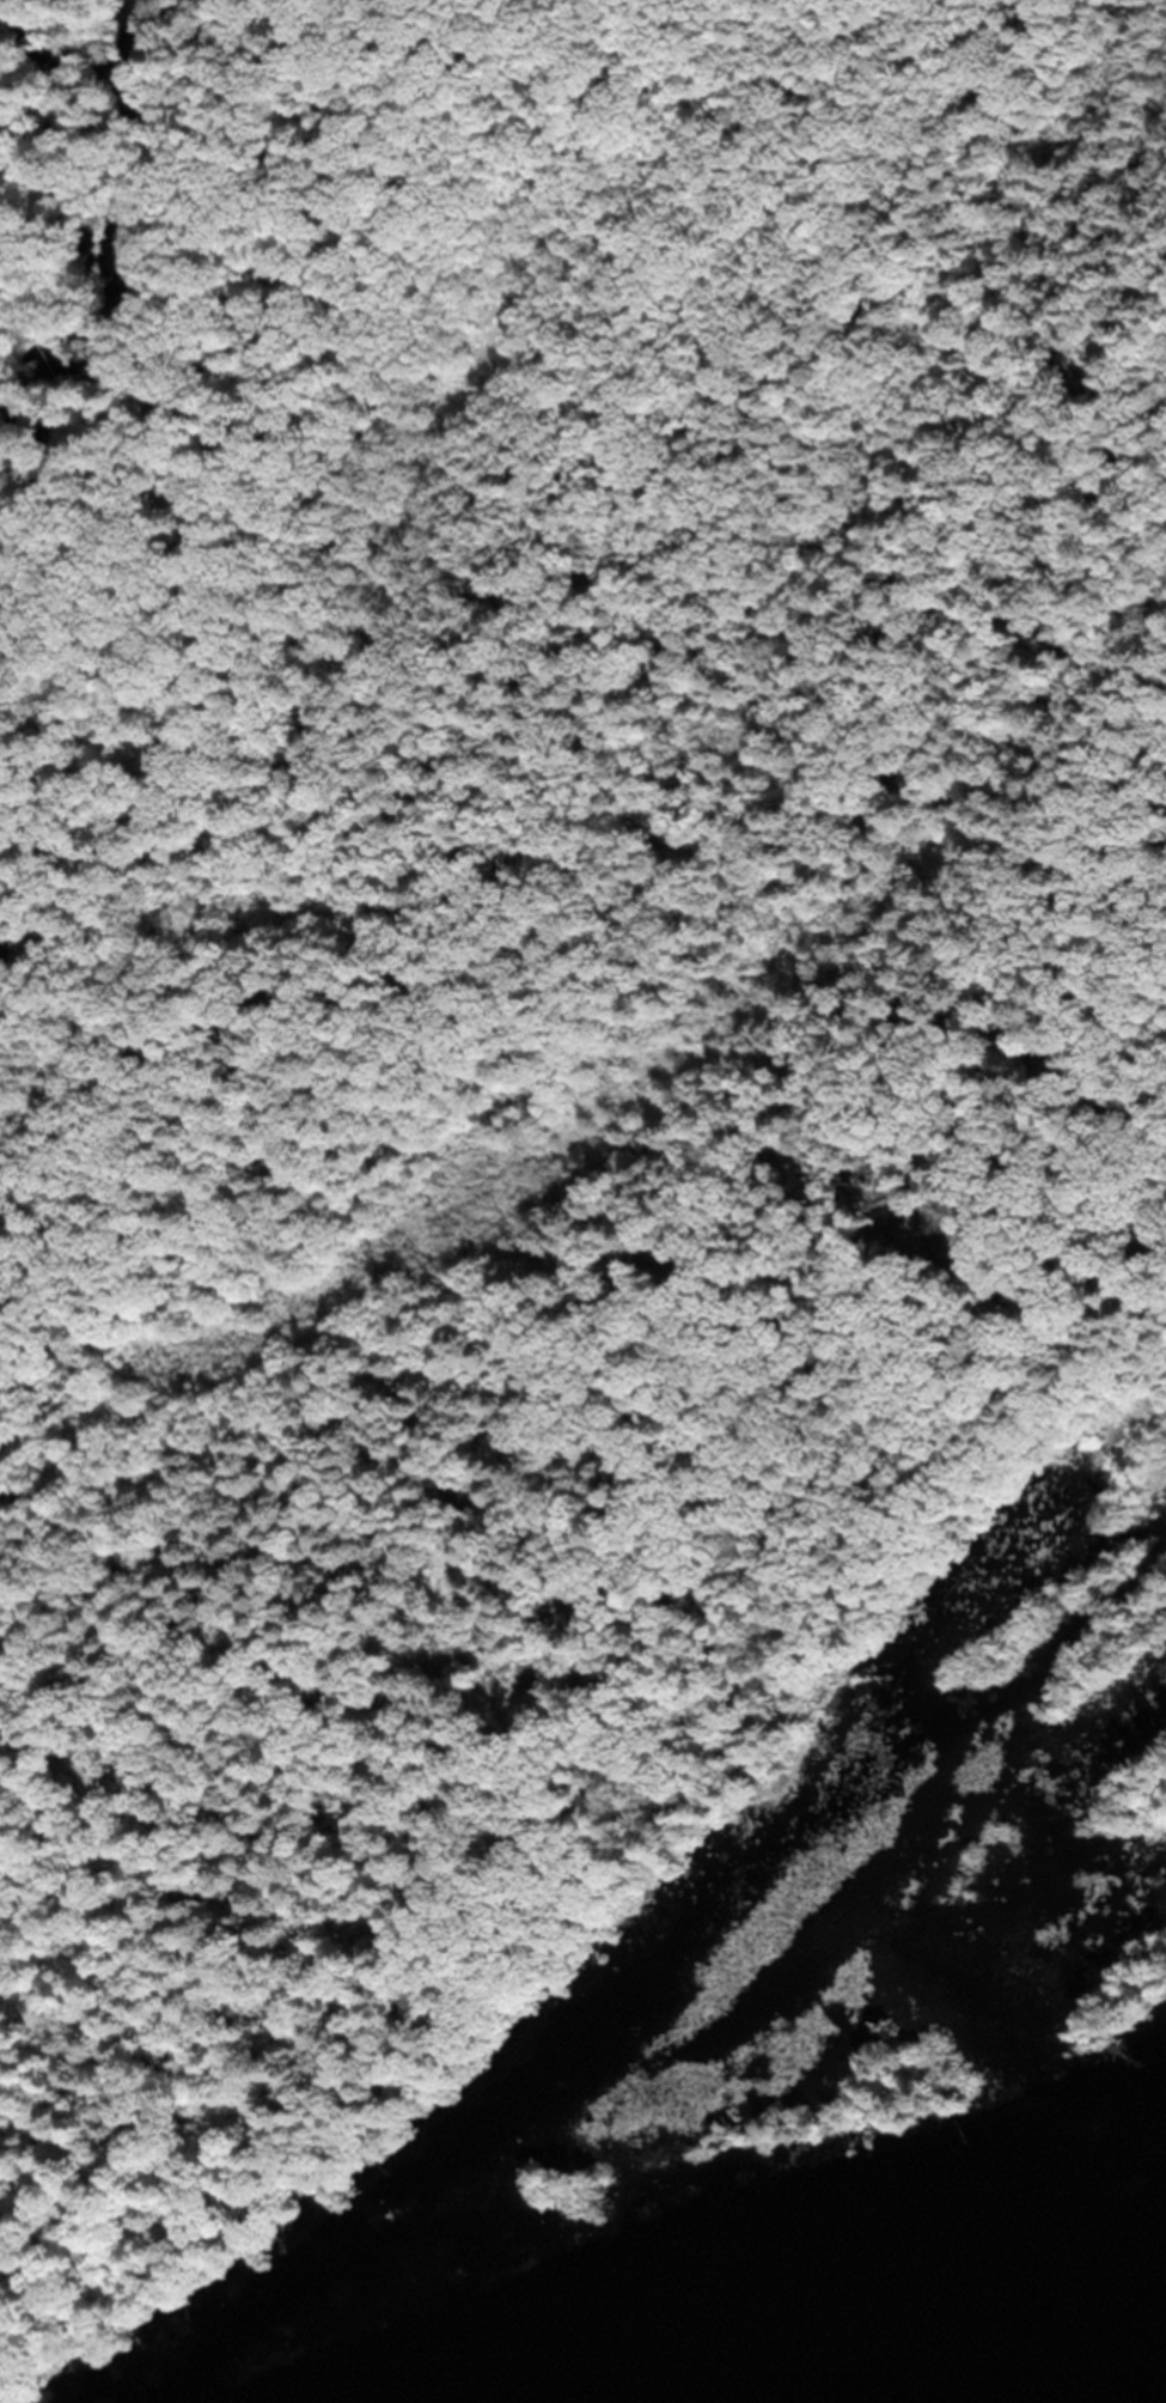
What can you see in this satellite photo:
river: (1088, 2338)

